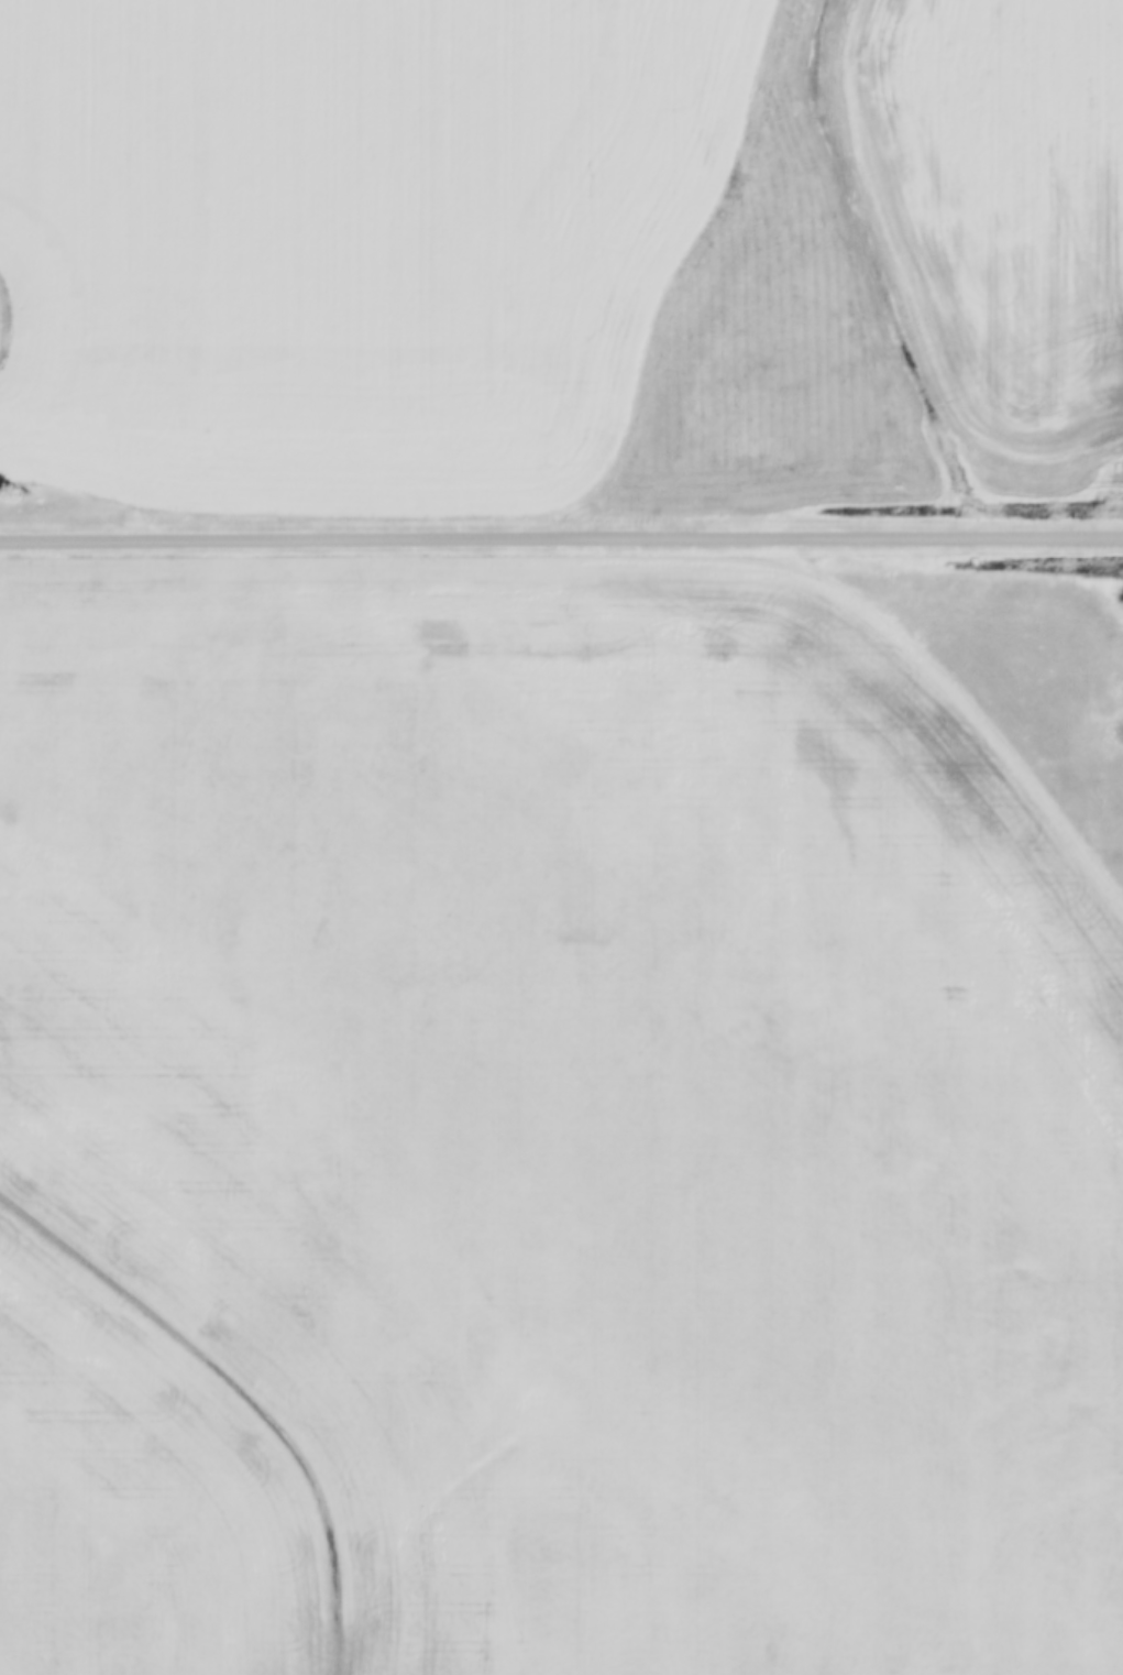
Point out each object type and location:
road: (561, 536)

